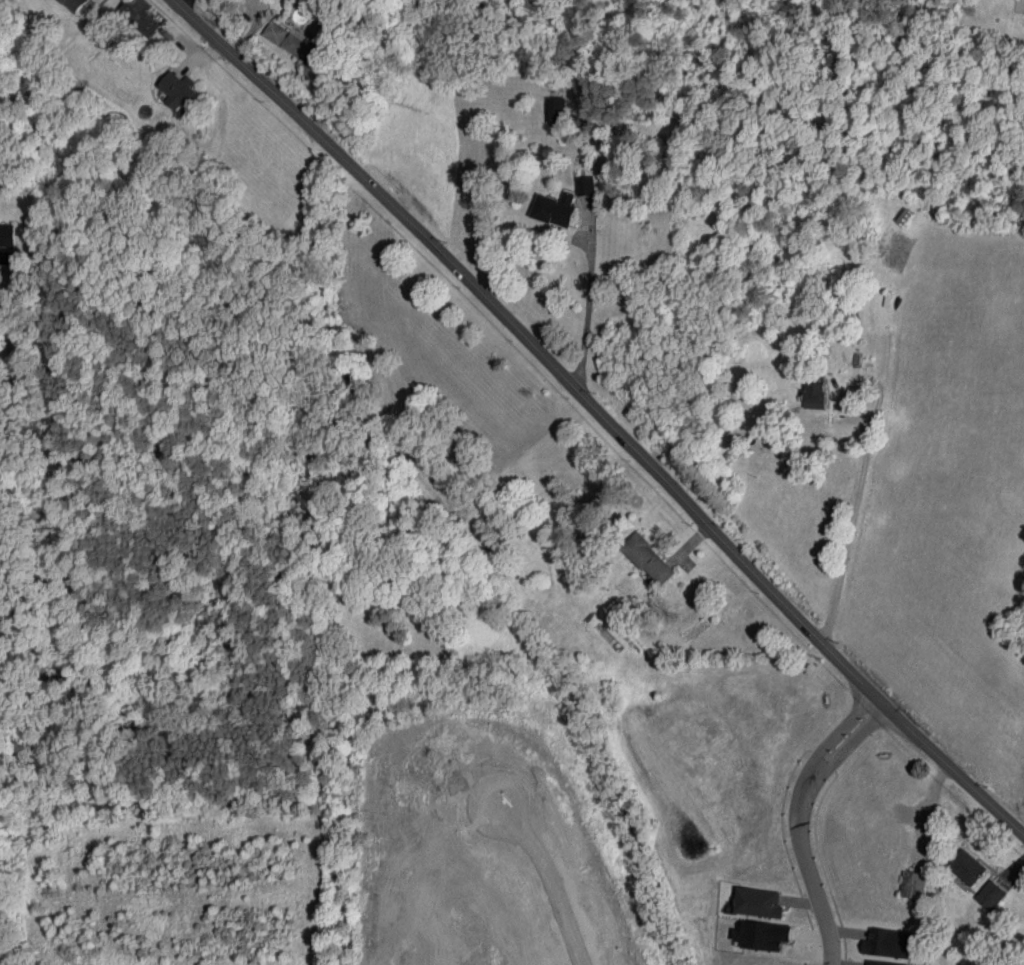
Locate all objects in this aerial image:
building: (77, 4)
building: (143, 16)
building: (275, 32)
building: (300, 47)
building: (179, 91)
building: (554, 110)
building: (584, 185)
building: (554, 209)
building: (8, 235)
road: (588, 298)
building: (814, 395)
road: (601, 412)
road: (858, 523)
building: (648, 558)
road: (803, 821)
building: (966, 866)
road: (547, 872)
building: (913, 884)
building: (990, 895)
building: (758, 902)
building: (762, 935)
building: (888, 943)
building: (882, 963)

